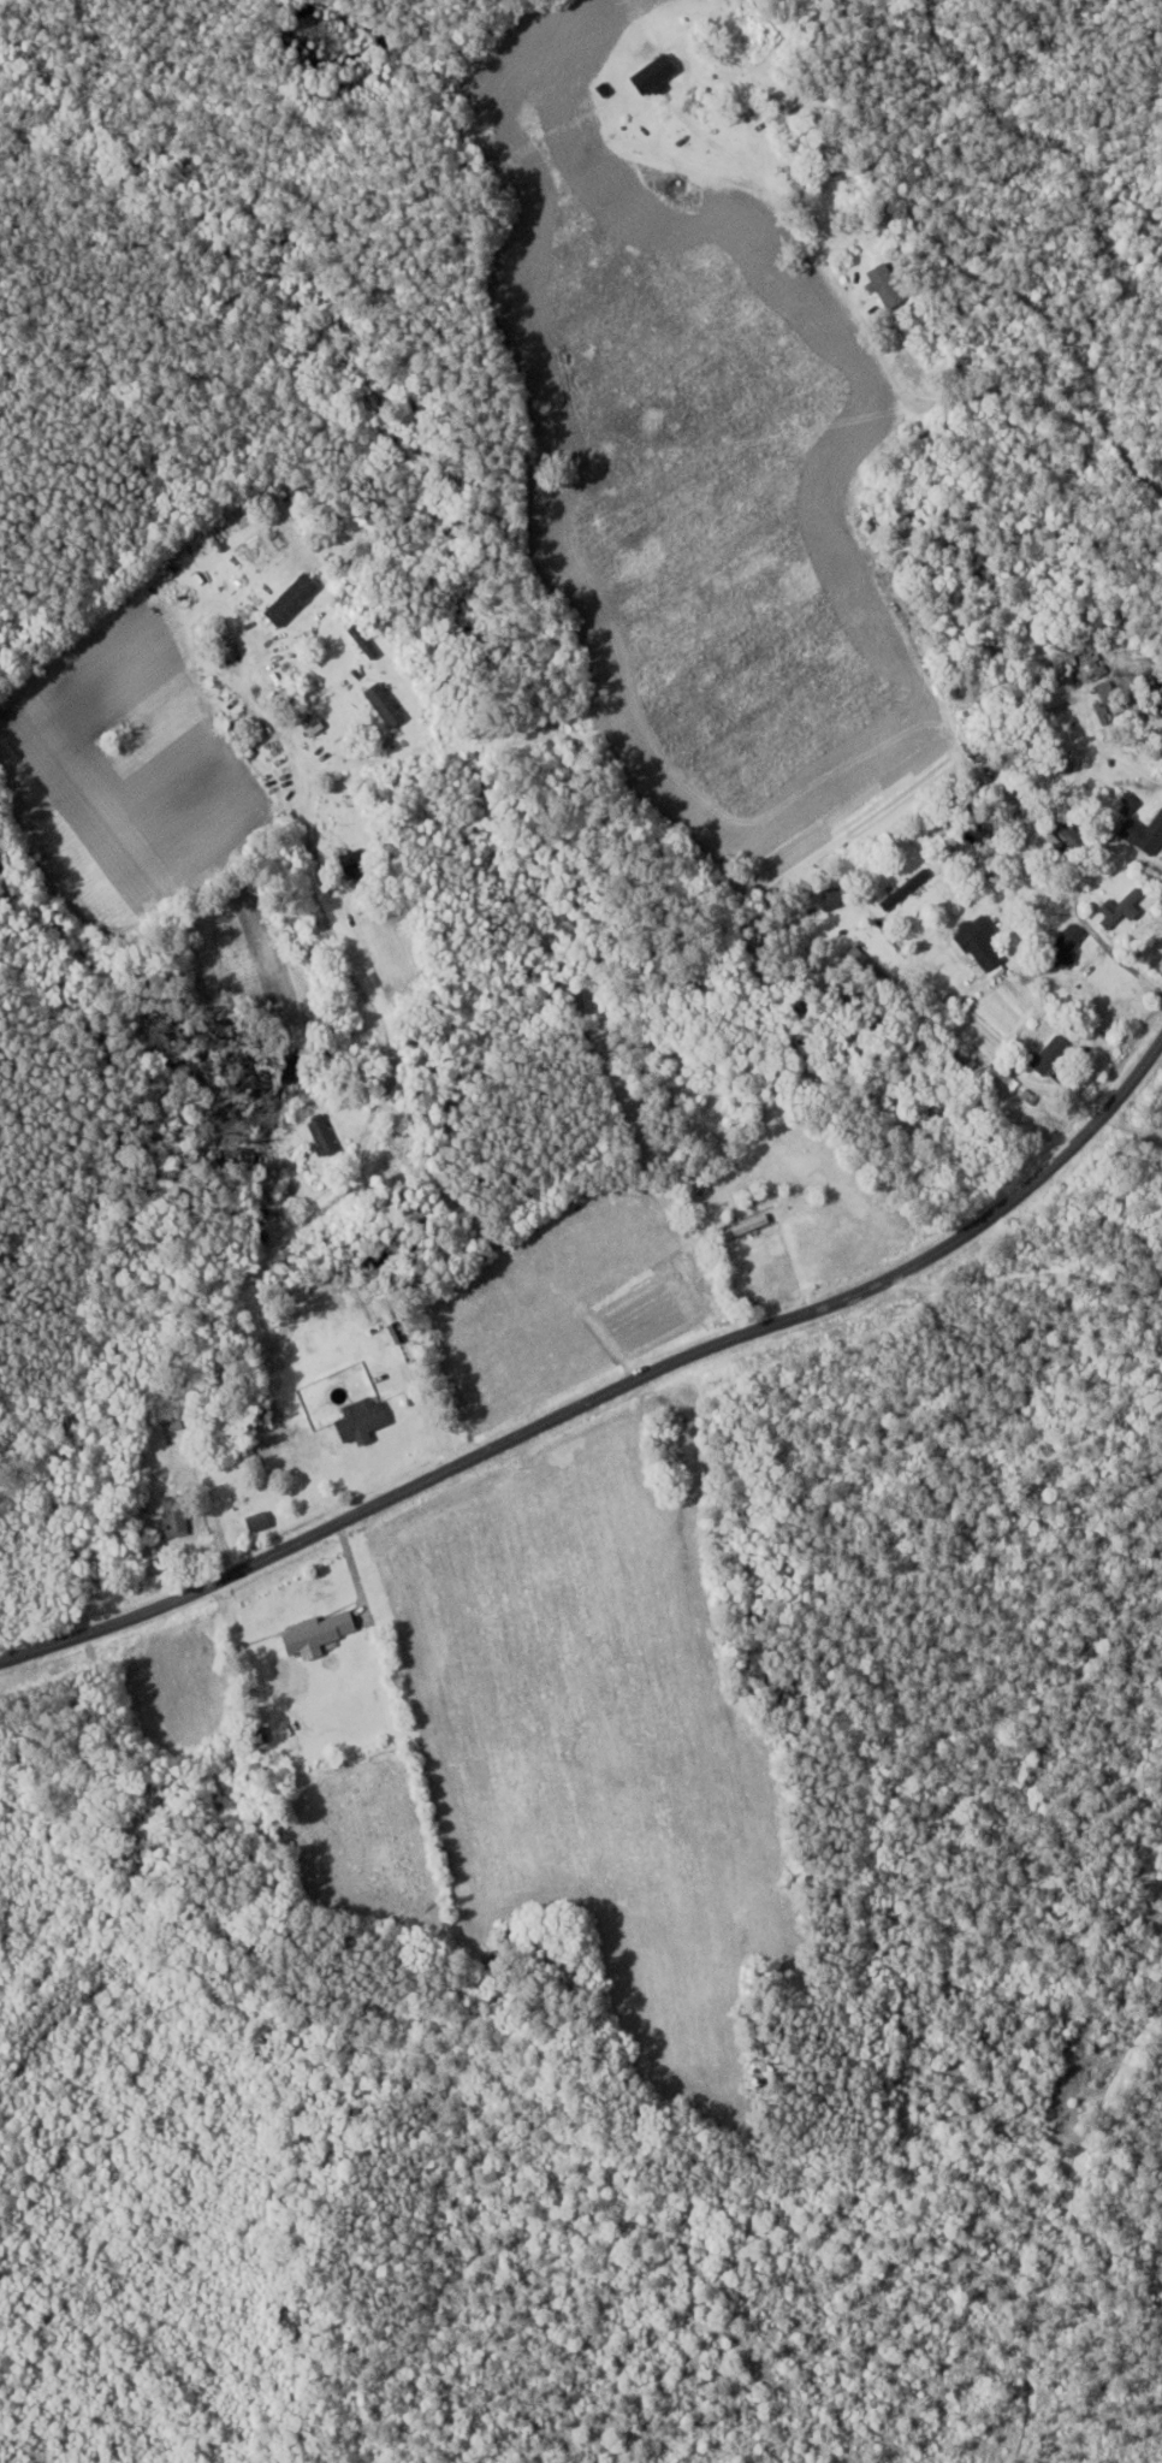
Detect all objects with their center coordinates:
building: (683, 60)
building: (777, 102)
building: (801, 183)
building: (890, 285)
road: (884, 362)
building: (294, 599)
building: (386, 705)
building: (1144, 835)
building: (356, 860)
building: (906, 889)
building: (837, 899)
building: (1122, 908)
building: (982, 943)
building: (1067, 945)
road: (974, 1036)
building: (1050, 1055)
road: (395, 1068)
building: (325, 1137)
road: (1033, 1267)
road: (610, 1393)
building: (164, 1475)
building: (177, 1516)
building: (260, 1522)
road: (351, 1568)
building: (319, 1634)

